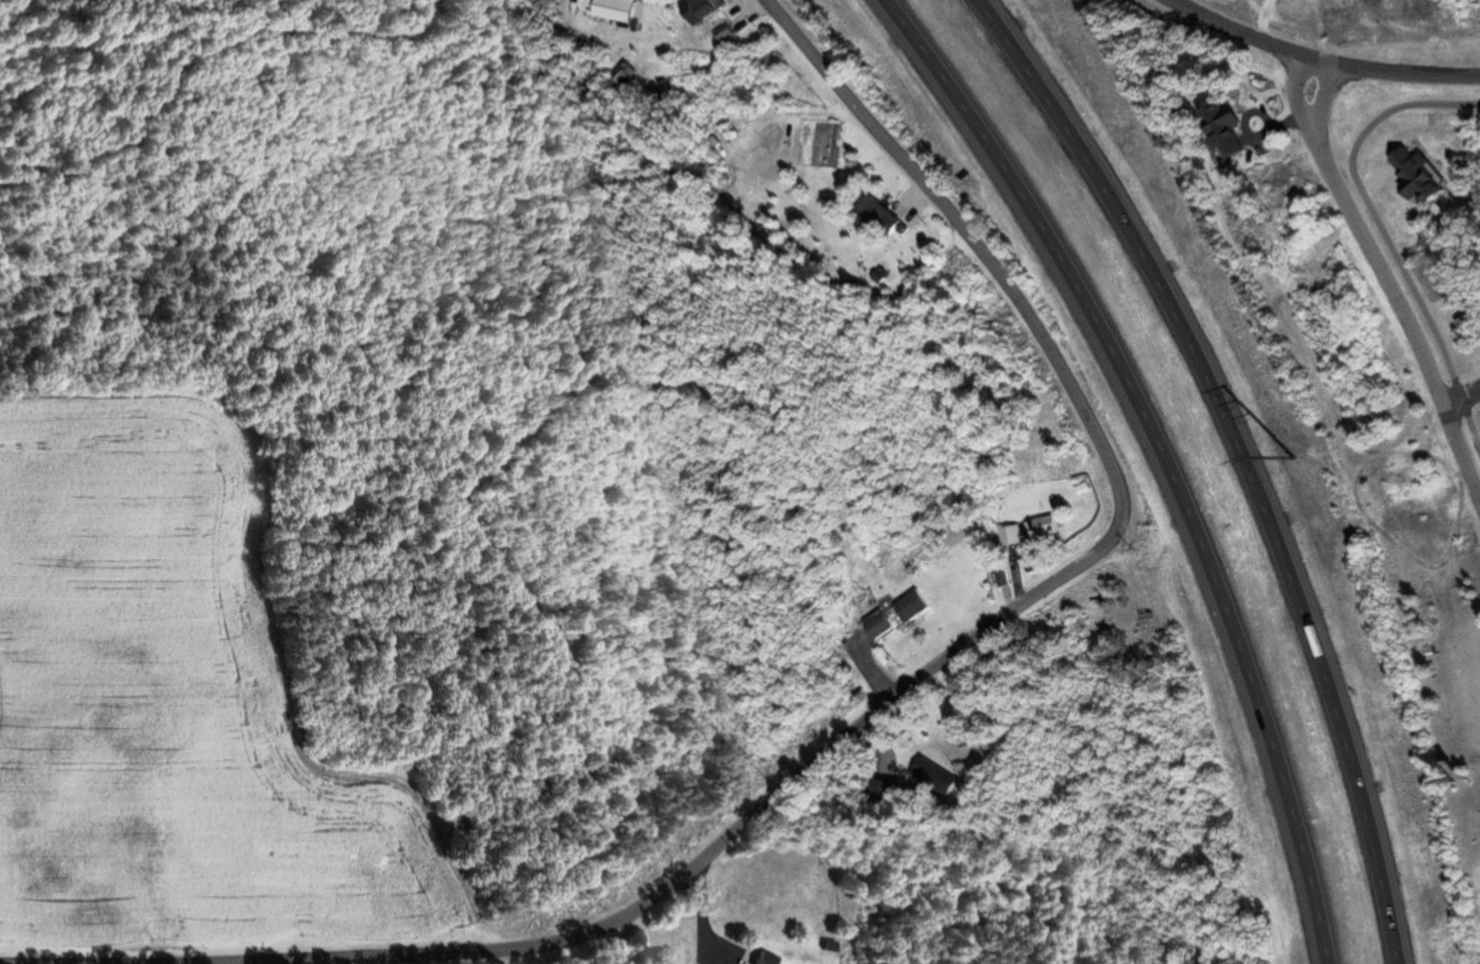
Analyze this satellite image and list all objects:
building: (695, 10)
building: (610, 11)
road: (1318, 59)
road: (1293, 97)
road: (1319, 99)
building: (1214, 130)
building: (1407, 178)
building: (872, 216)
road: (1383, 233)
road: (1402, 317)
road: (1459, 399)
road: (1175, 451)
power tower: (1291, 457)
road: (1251, 461)
building: (1036, 528)
building: (1005, 536)
building: (996, 575)
road: (1017, 601)
building: (906, 607)
building: (1105, 625)
building: (872, 627)
building: (930, 777)
building: (879, 795)
building: (759, 958)
building: (1319, 963)

